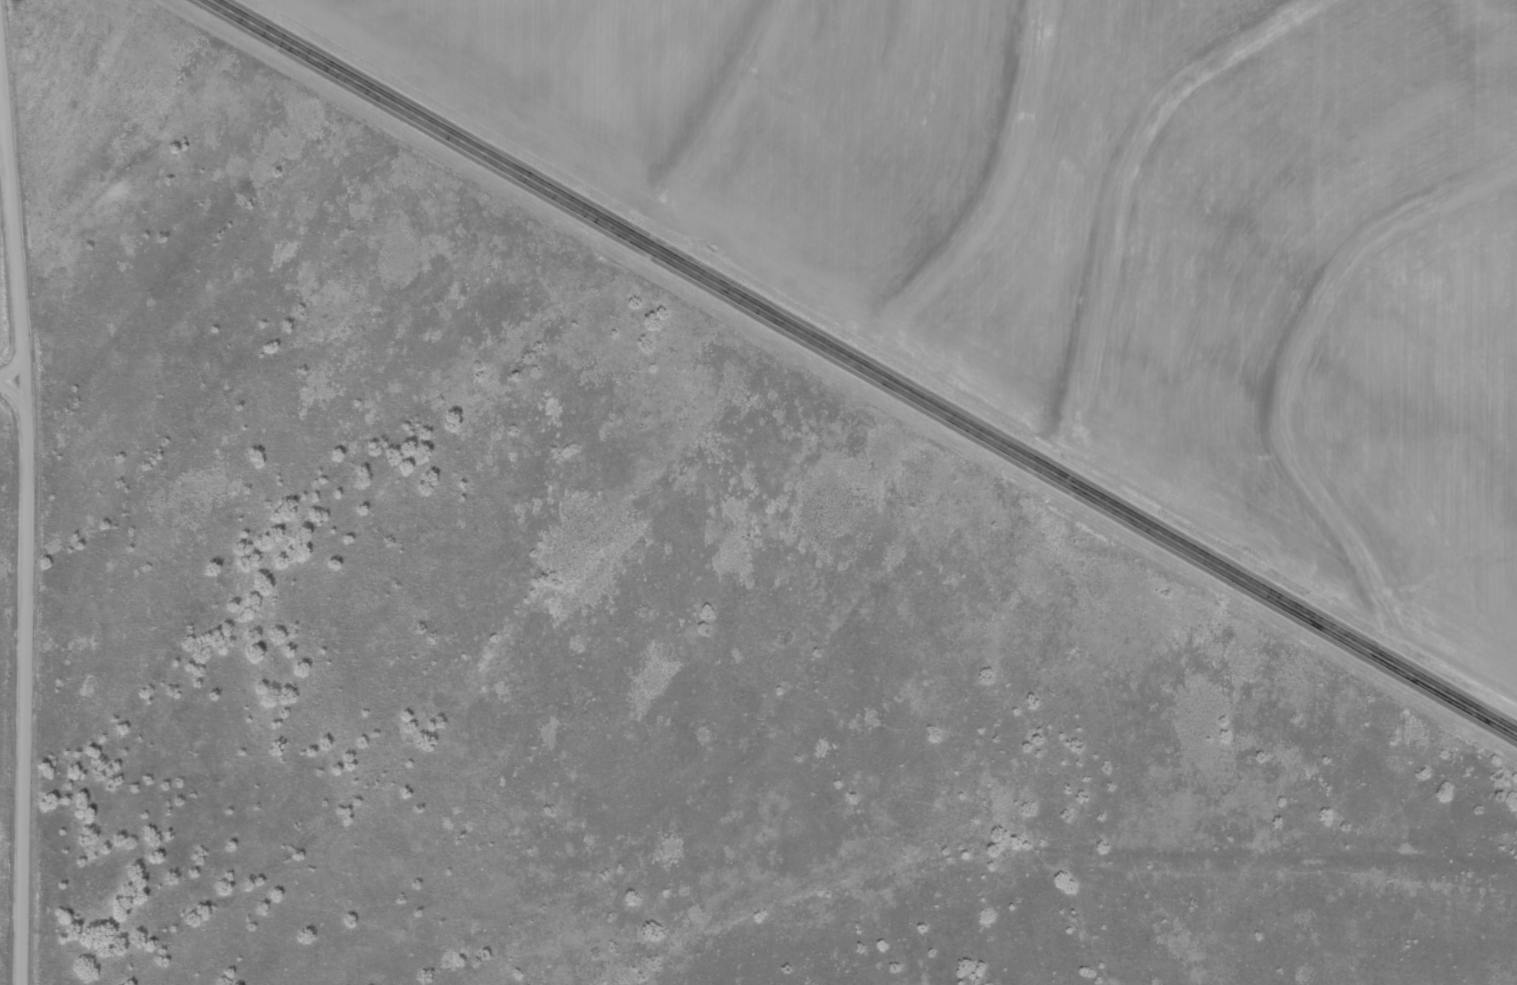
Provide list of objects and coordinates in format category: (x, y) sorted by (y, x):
road: (865, 365)
road: (14, 371)
road: (31, 491)
road: (1291, 810)

